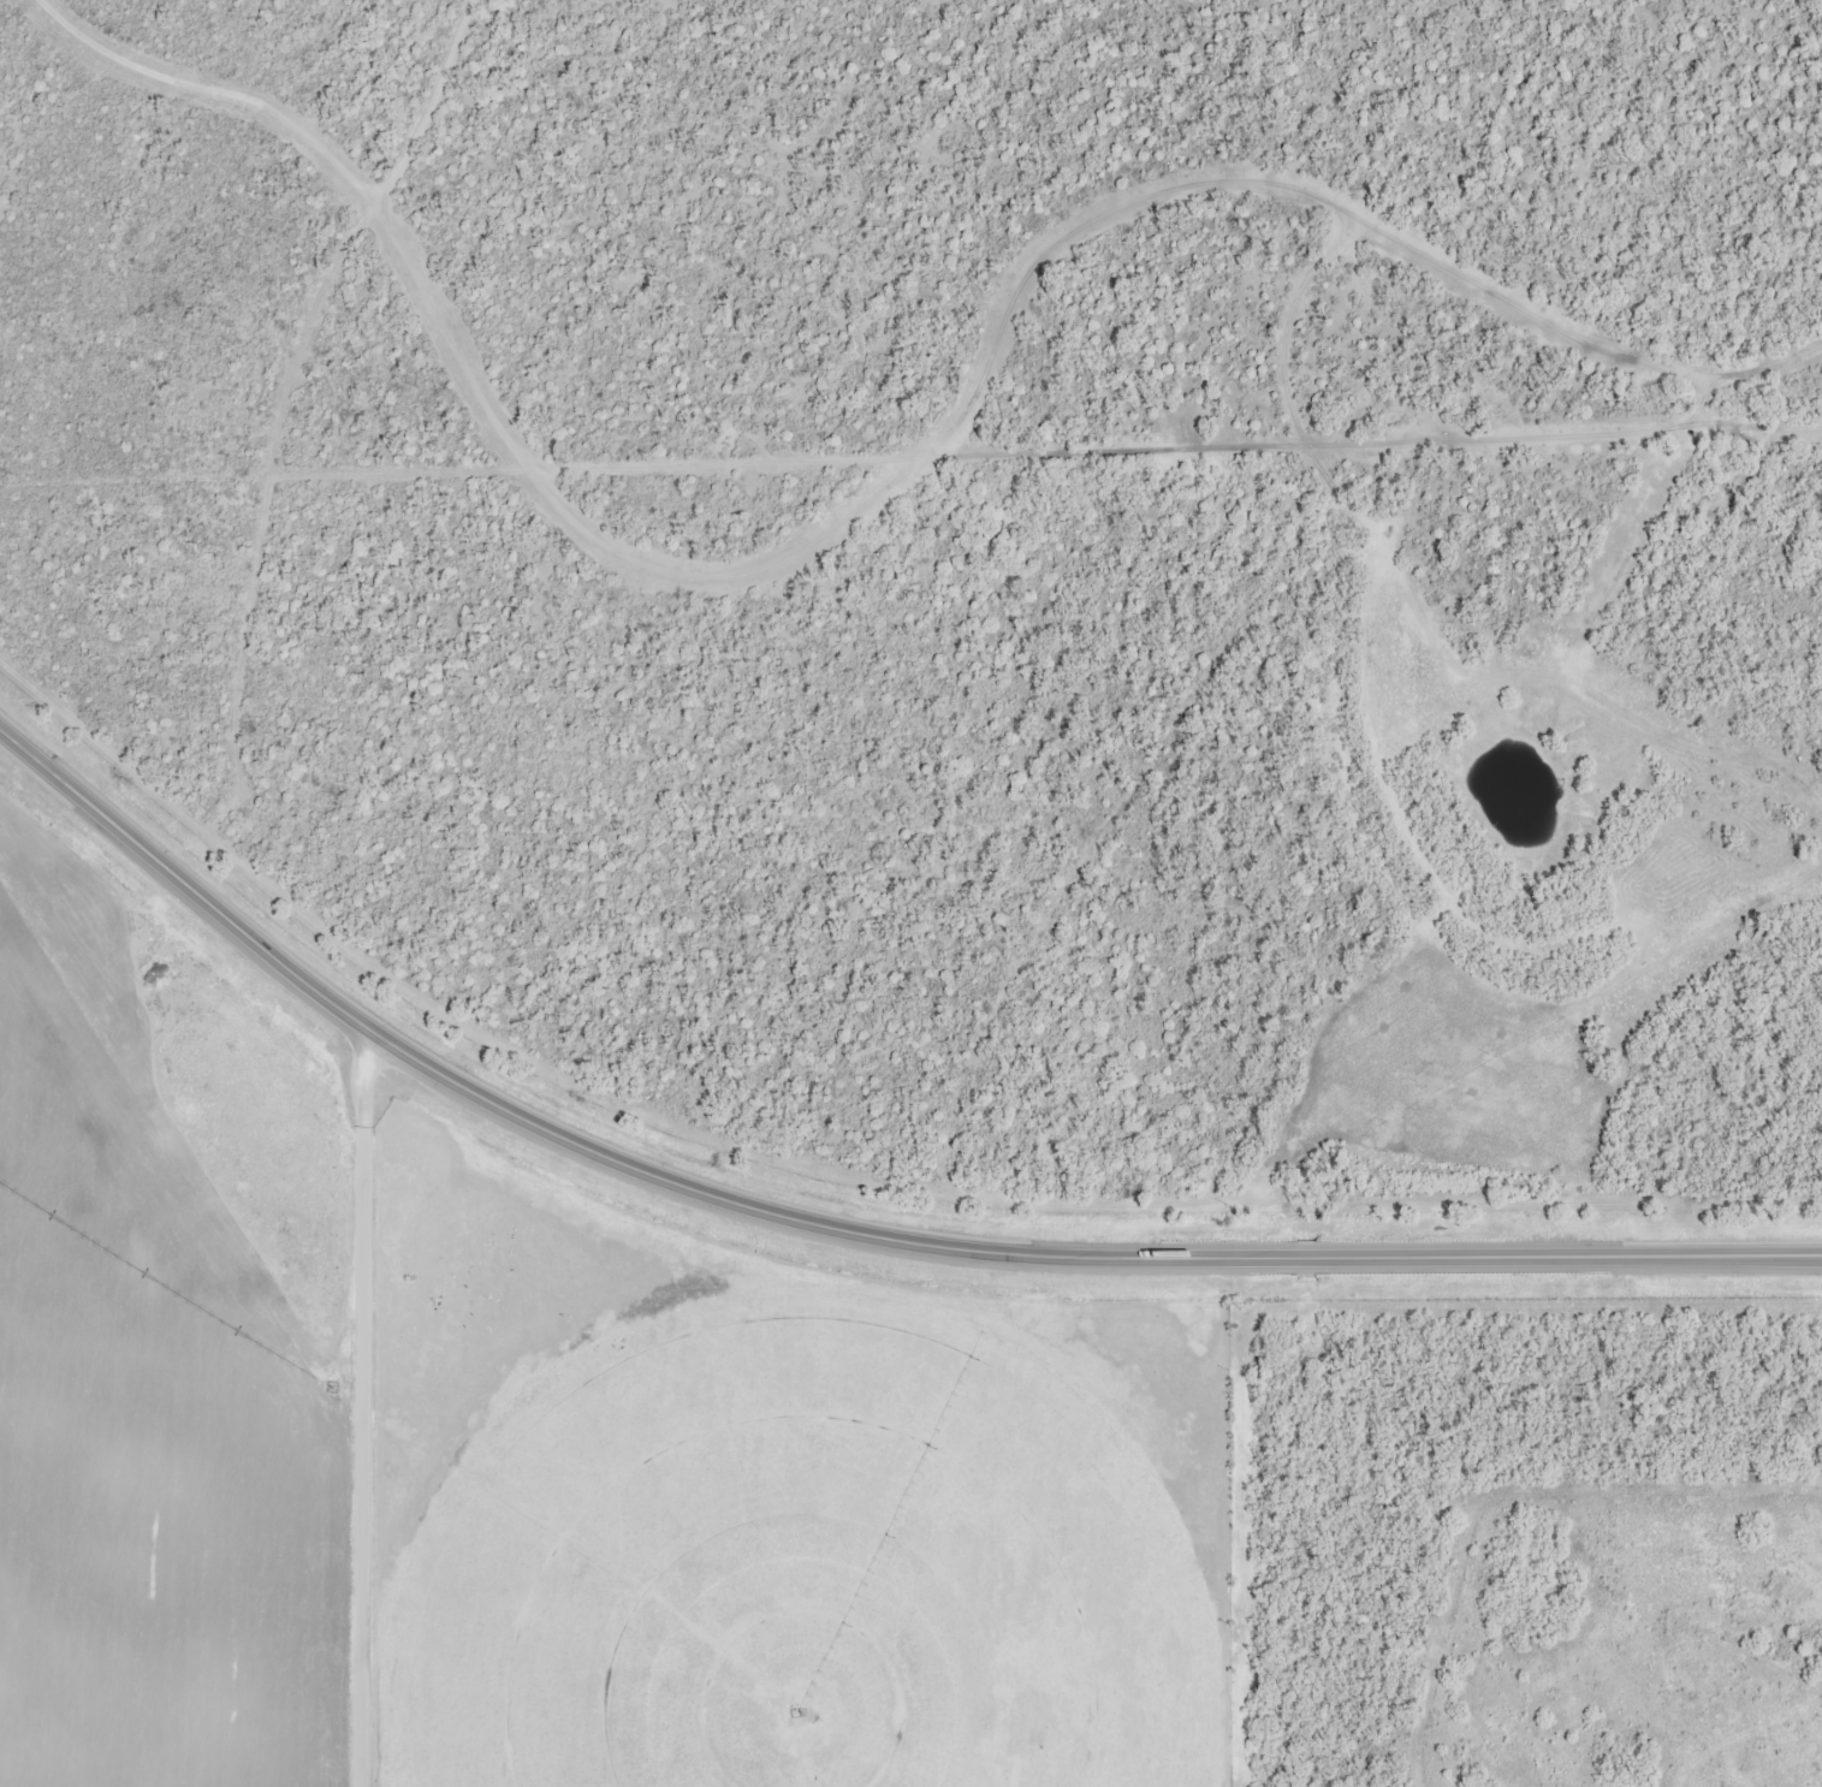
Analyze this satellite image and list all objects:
road: (1068, 320)
road: (1578, 363)
road: (291, 447)
road: (833, 1241)
road: (362, 1406)
road: (1239, 1536)

